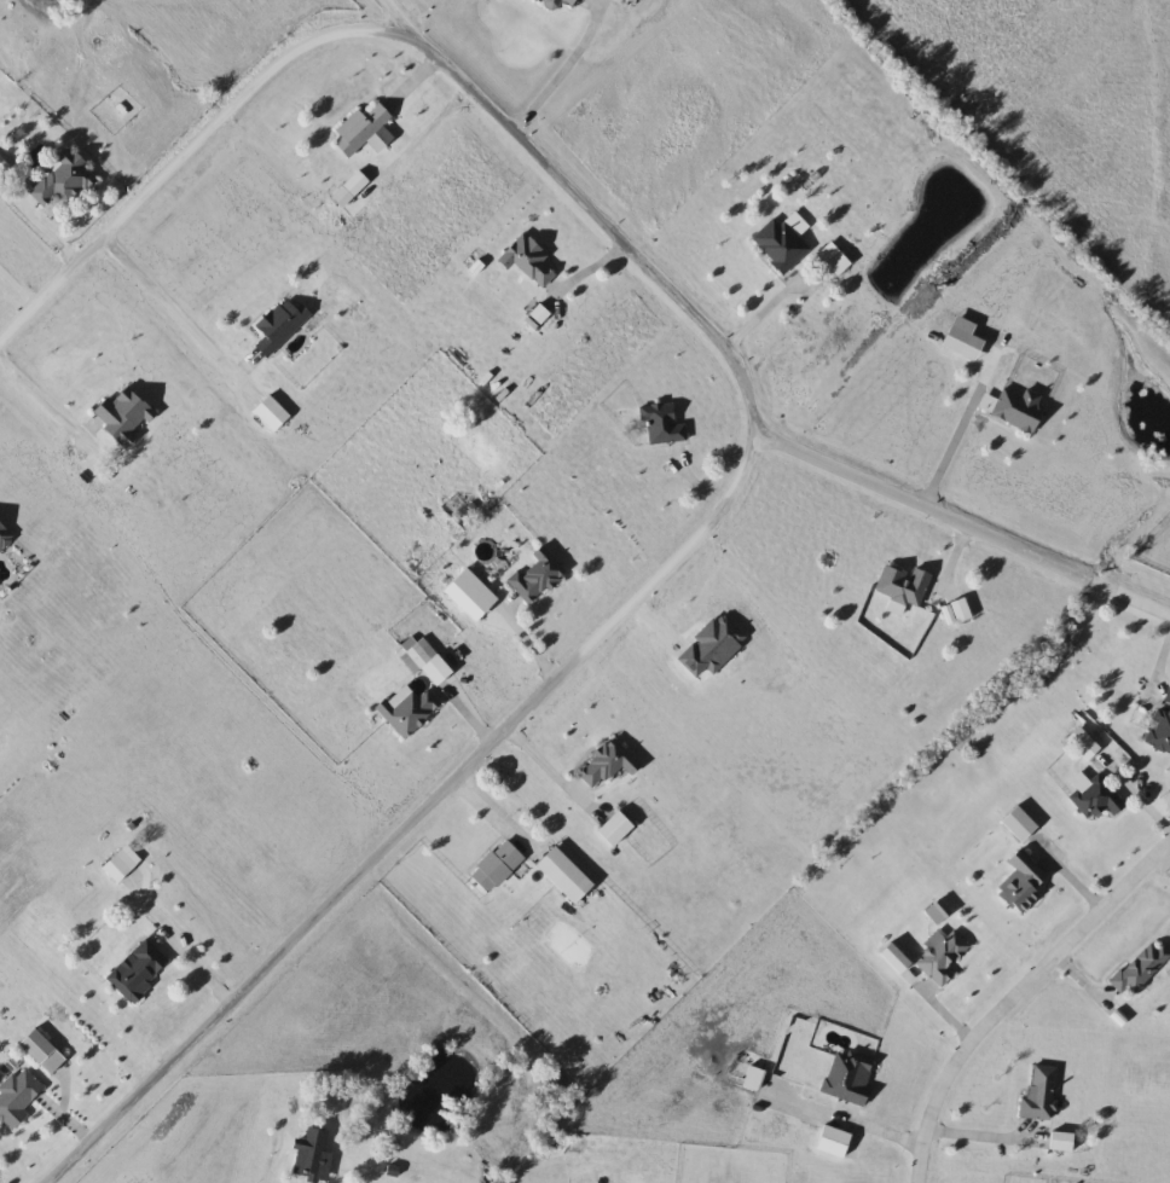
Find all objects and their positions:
building: (560, 2)
road: (393, 11)
road: (268, 73)
road: (560, 73)
building: (363, 128)
building: (65, 180)
road: (47, 215)
building: (782, 244)
building: (531, 259)
building: (841, 263)
road: (167, 311)
road: (764, 312)
building: (282, 325)
road: (41, 398)
building: (1021, 407)
building: (274, 413)
building: (127, 414)
building: (665, 422)
road: (962, 431)
road: (966, 517)
building: (4, 539)
building: (538, 576)
building: (904, 587)
building: (957, 613)
building: (419, 655)
road: (532, 706)
building: (409, 709)
building: (1162, 726)
building: (1084, 743)
building: (608, 762)
road: (551, 769)
building: (1095, 799)
building: (1020, 823)
building: (616, 829)
building: (498, 865)
building: (118, 866)
building: (567, 875)
building: (1023, 882)
building: (937, 912)
building: (944, 957)
building: (1141, 965)
building: (138, 969)
road: (1016, 994)
building: (44, 1050)
building: (850, 1077)
building: (1039, 1094)
building: (17, 1097)
building: (1062, 1141)
building: (314, 1153)

